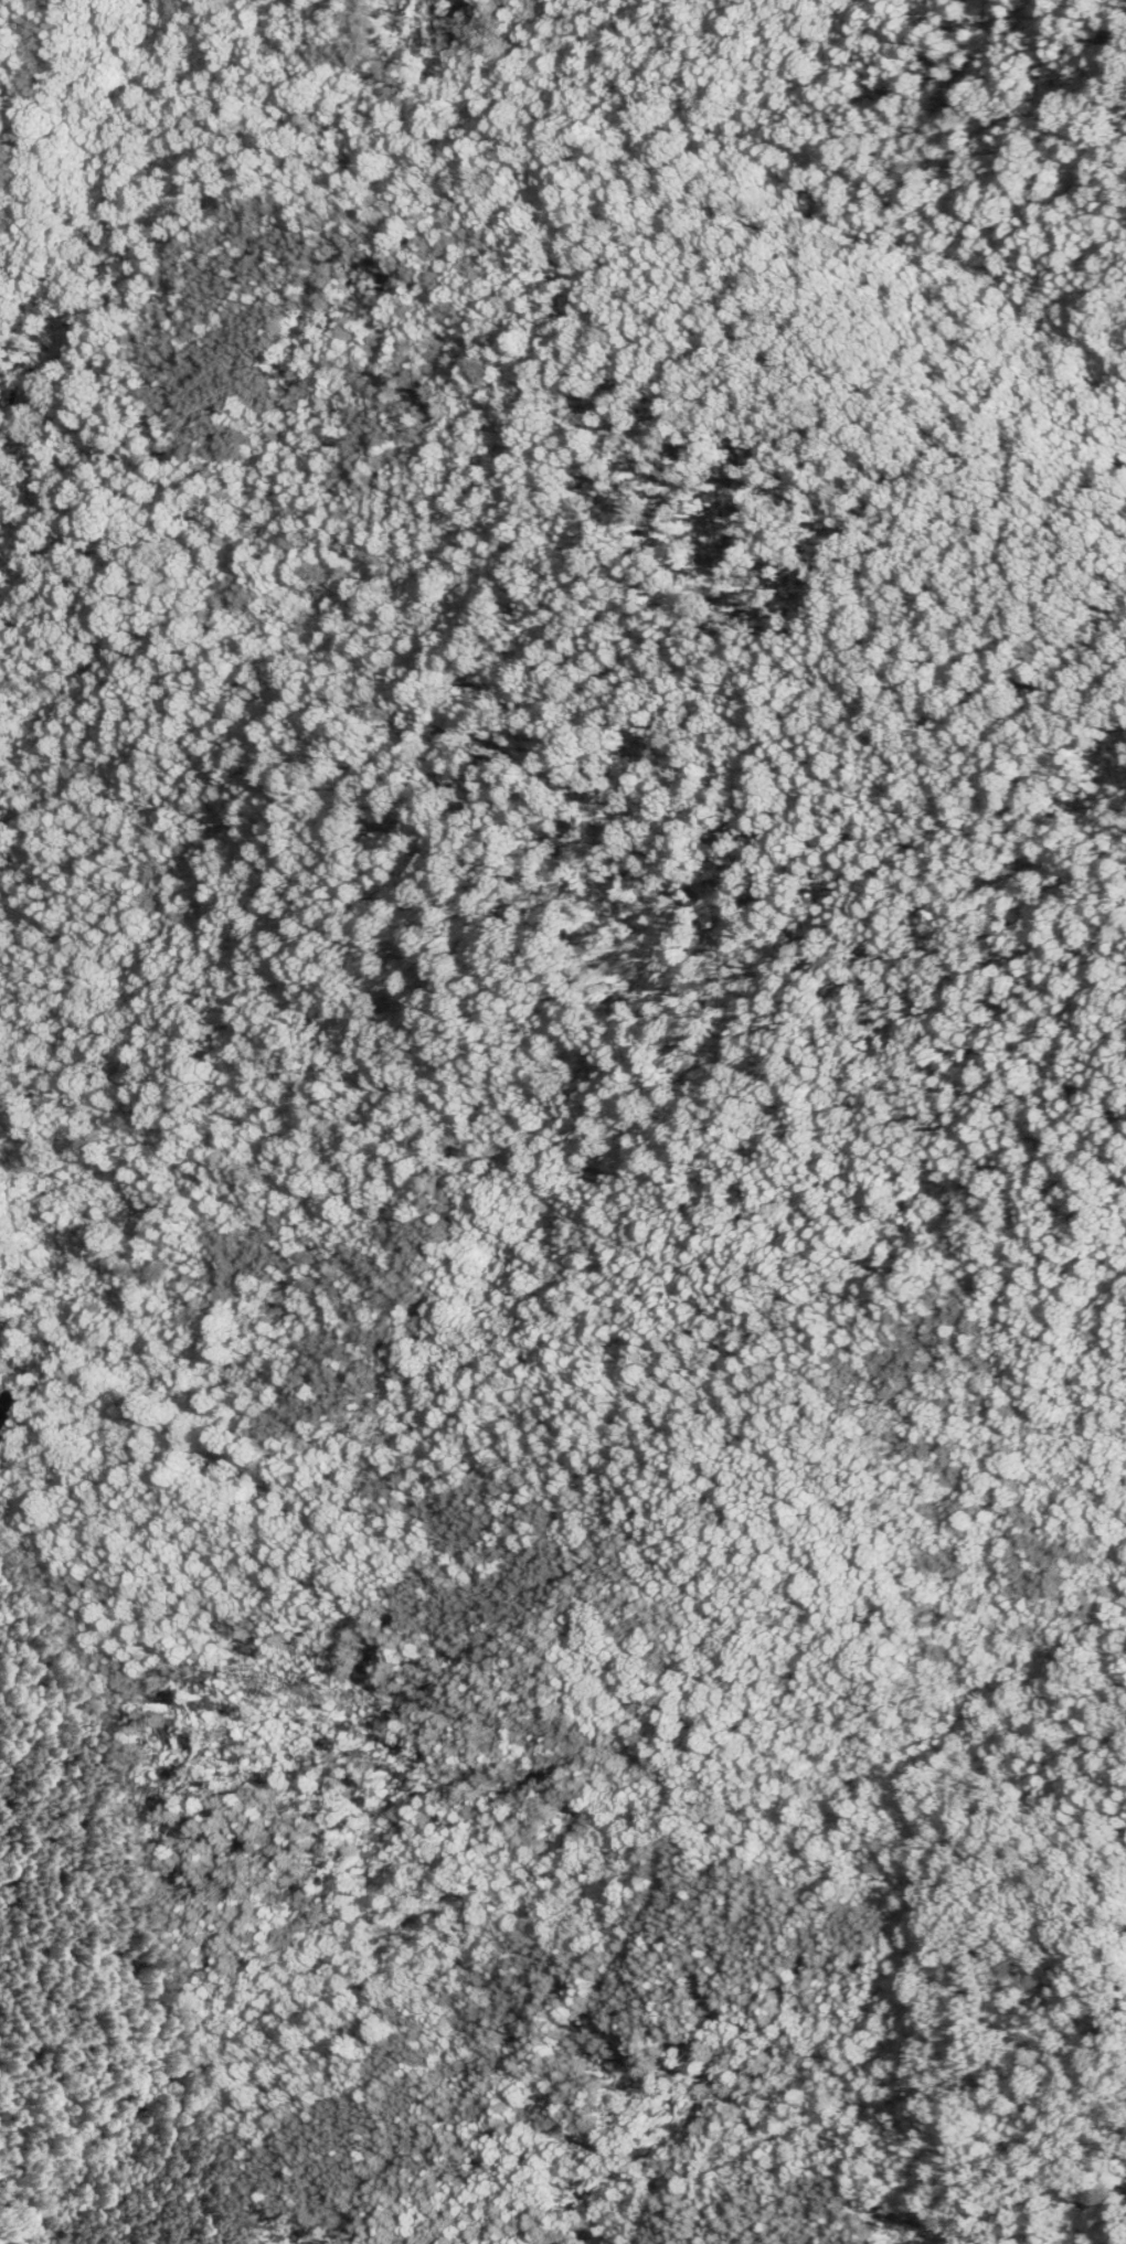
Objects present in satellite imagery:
road: (2, 2134)

